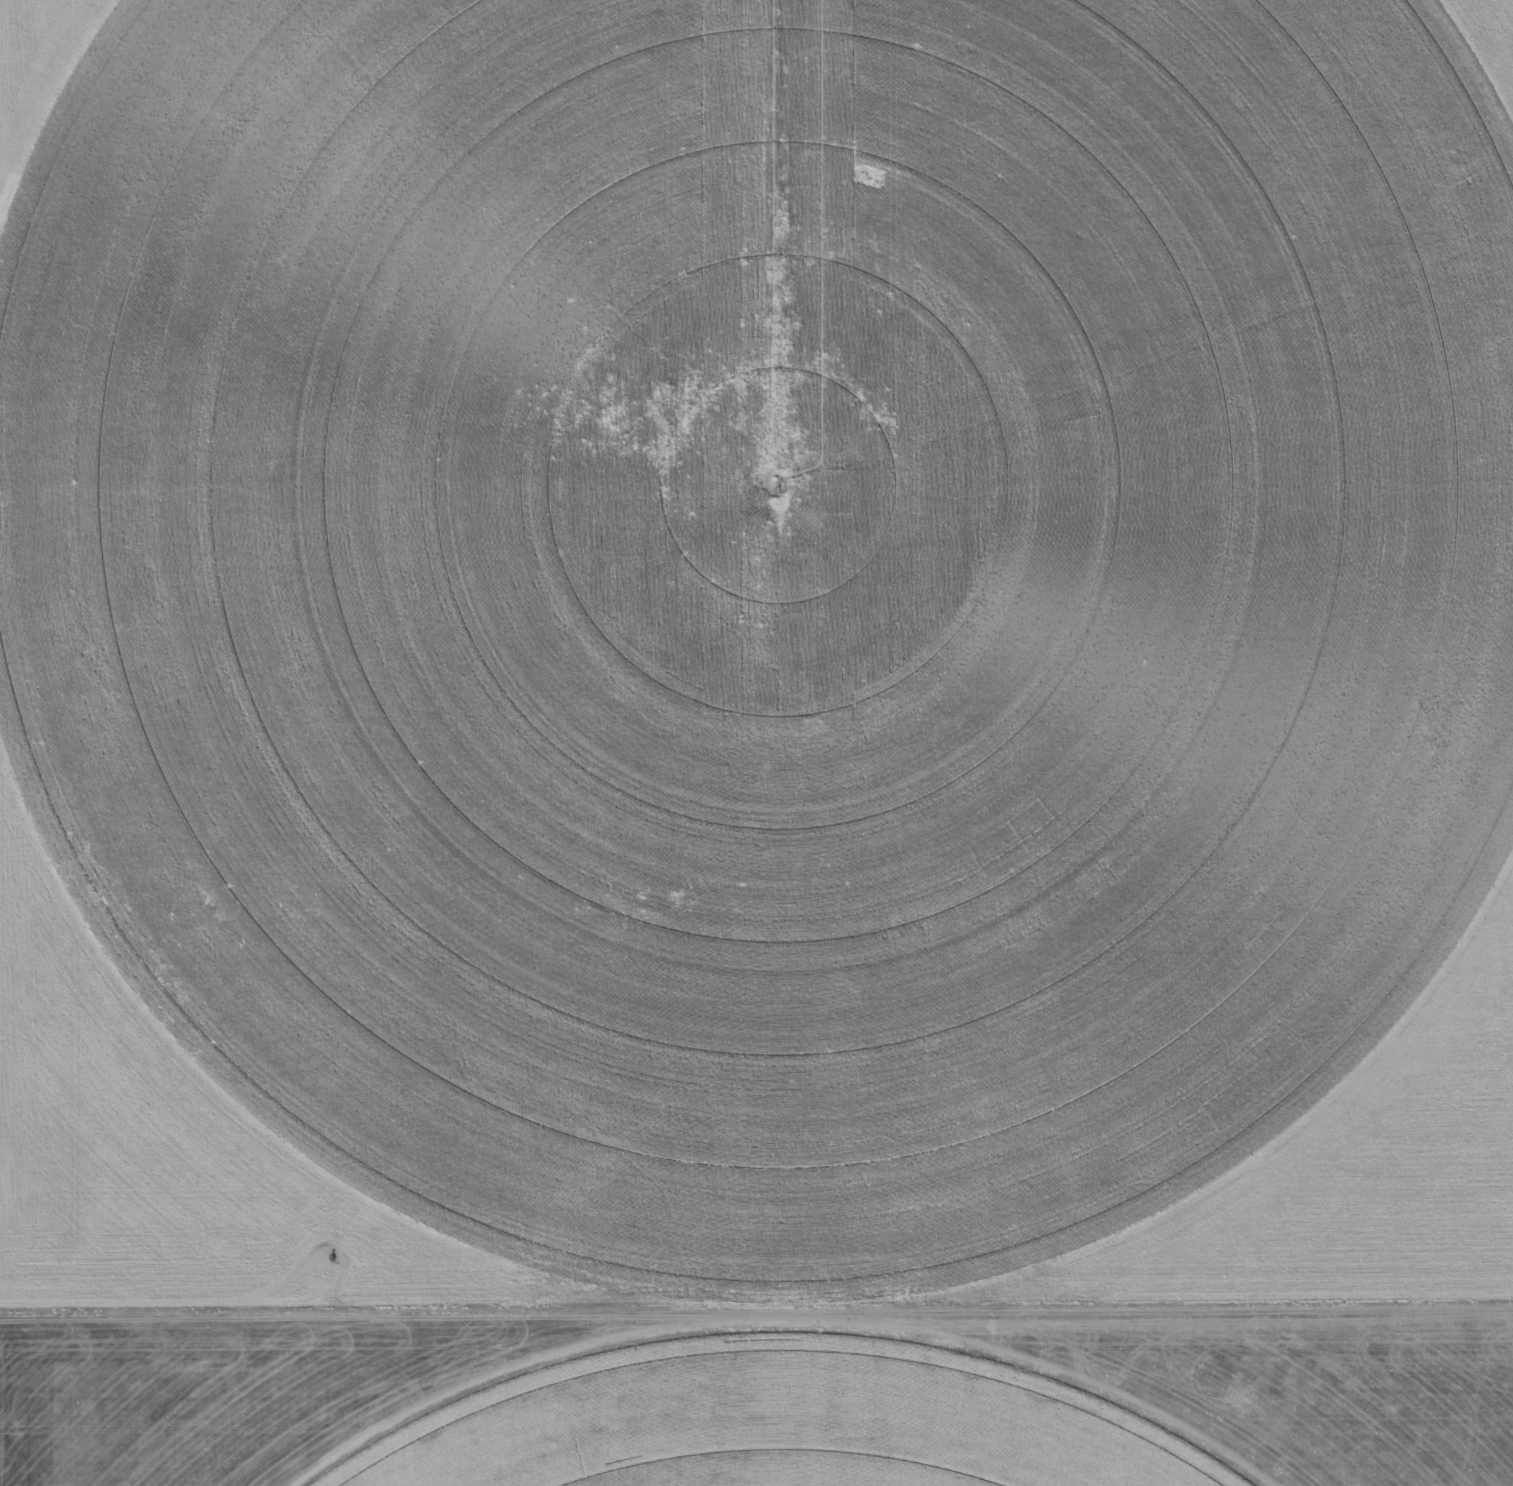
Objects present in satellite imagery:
road: (97, 1455)

